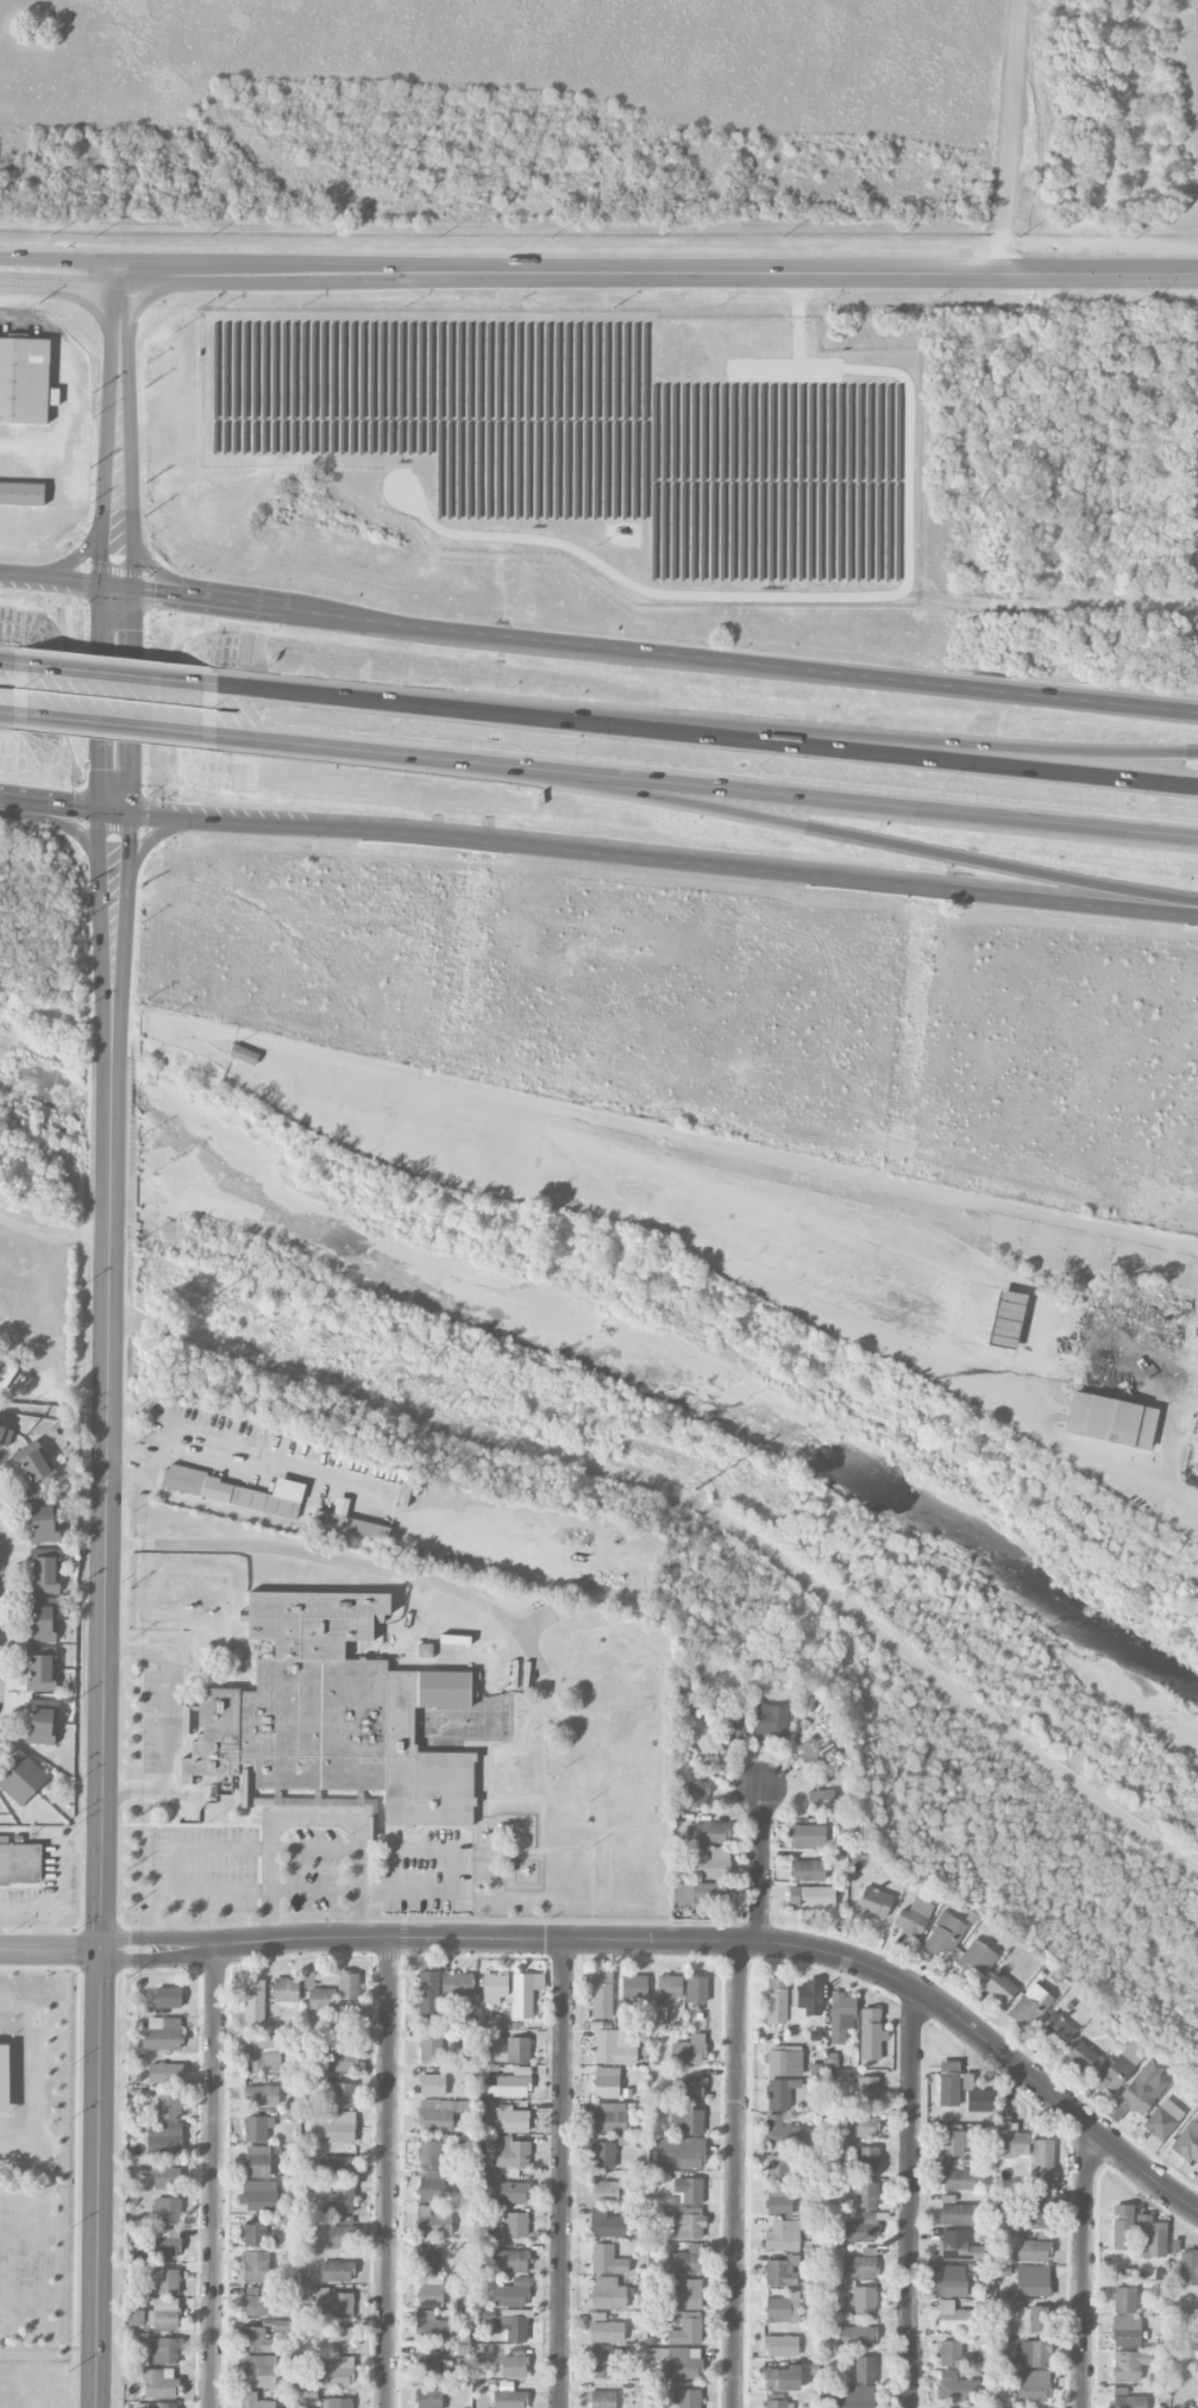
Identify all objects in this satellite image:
road: (1065, 8)
road: (1016, 114)
road: (598, 226)
road: (598, 274)
road: (120, 319)
building: (25, 380)
road: (70, 384)
road: (105, 475)
road: (130, 477)
building: (21, 494)
road: (75, 560)
traffic signals: (102, 562)
road: (152, 567)
road: (849, 595)
traffic signals: (131, 631)
road: (597, 647)
road: (7, 665)
road: (115, 676)
road: (101, 698)
road: (130, 702)
road: (7, 719)
road: (117, 730)
road: (707, 736)
road: (827, 736)
road: (382, 757)
traffic signals: (101, 769)
road: (871, 805)
traffic signals: (76, 809)
road: (69, 826)
road: (152, 836)
traffic signals: (128, 839)
road: (871, 841)
road: (598, 855)
road: (101, 917)
road: (126, 920)
building: (244, 1054)
road: (863, 1175)
road: (676, 1205)
road: (109, 1224)
power tower: (200, 1304)
building: (1006, 1319)
building: (1124, 1367)
building: (5, 1372)
road: (1180, 1412)
building: (1197, 1416)
building: (6, 1436)
building: (31, 1455)
road: (151, 1465)
building: (44, 1475)
power tower: (695, 1490)
building: (237, 1492)
building: (43, 1512)
building: (349, 1523)
building: (46, 1532)
road: (330, 1559)
power tower: (1192, 1563)
building: (45, 1566)
building: (46, 1584)
road: (0, 1586)
building: (42, 1613)
building: (42, 1630)
street lamp: (236, 1635)
street lamp: (415, 1638)
building: (425, 1650)
building: (43, 1657)
building: (44, 1681)
building: (43, 1712)
building: (332, 1719)
building: (735, 1722)
building: (771, 1723)
road: (167, 1724)
building: (42, 1735)
building: (704, 1736)
building: (817, 1751)
building: (29, 1769)
building: (15, 1787)
building: (697, 1794)
building: (824, 1801)
street lamp: (257, 1817)
road: (316, 1819)
street lamp: (211, 1821)
building: (711, 1833)
building: (808, 1836)
street lamp: (290, 1837)
street lamp: (347, 1838)
building: (19, 1863)
building: (713, 1864)
road: (763, 1865)
road: (176, 1868)
road: (452, 1871)
building: (808, 1871)
building: (579, 1877)
road: (63, 1890)
building: (700, 1894)
building: (811, 1896)
building: (873, 1904)
street lamp: (187, 1913)
street lamp: (288, 1913)
street lamp: (247, 1914)
road: (100, 1915)
building: (914, 1918)
road: (54, 1931)
building: (943, 1934)
road: (419, 1939)
road: (751, 1940)
road: (50, 1949)
traffic signals: (100, 1950)
building: (977, 1958)
building: (457, 1984)
building: (347, 1986)
building: (634, 1987)
building: (670, 1987)
building: (495, 1988)
building: (696, 1989)
building: (999, 1989)
building: (286, 1990)
building: (428, 1994)
building: (525, 1994)
building: (318, 1995)
building: (602, 1995)
building: (169, 1996)
building: (805, 2000)
building: (776, 2001)
building: (253, 2002)
building: (1031, 2006)
building: (841, 2017)
building: (1056, 2030)
building: (162, 2033)
building: (871, 2034)
building: (615, 2046)
road: (996, 2046)
building: (431, 2049)
building: (518, 2050)
building: (689, 2050)
building: (1080, 2056)
building: (261, 2057)
building: (339, 2057)
building: (785, 2061)
building: (1117, 2069)
building: (165, 2072)
building: (606, 2083)
building: (949, 2084)
building: (432, 2086)
building: (510, 2087)
building: (690, 2088)
building: (867, 2089)
building: (1140, 2092)
building: (779, 2094)
building: (262, 2095)
building: (343, 2095)
building: (979, 2101)
building: (169, 2107)
building: (609, 2118)
building: (512, 2119)
building: (686, 2121)
building: (1160, 2124)
building: (335, 2126)
building: (860, 2127)
building: (257, 2128)
building: (782, 2132)
building: (164, 2138)
building: (1012, 2140)
building: (952, 2143)
building: (1187, 2143)
building: (510, 2152)
building: (680, 2152)
building: (429, 2153)
building: (603, 2155)
building: (1042, 2157)
building: (867, 2159)
building: (257, 2162)
building: (338, 2166)
building: (777, 2168)
road: (390, 2174)
road: (563, 2174)
road: (736, 2174)
building: (165, 2178)
road: (214, 2178)
building: (958, 2180)
building: (432, 2186)
building: (689, 2190)
building: (513, 2193)
building: (259, 2195)
building: (866, 2195)
road: (911, 2197)
building: (344, 2200)
building: (779, 2200)
building: (165, 2211)
building: (1037, 2211)
building: (956, 2214)
building: (433, 2224)
building: (689, 2224)
building: (516, 2225)
building: (606, 2225)
building: (1122, 2227)
building: (861, 2230)
building: (341, 2233)
building: (255, 2234)
building: (783, 2237)
building: (1150, 2238)
building: (164, 2245)
building: (958, 2246)
building: (1033, 2251)
building: (428, 2258)
building: (607, 2260)
building: (685, 2260)
building: (509, 2262)
building: (860, 2264)
building: (255, 2266)
road: (1086, 2268)
building: (1188, 2268)
building: (335, 2271)
building: (782, 2271)
building: (1033, 2281)
building: (163, 2282)
building: (953, 2285)
building: (429, 2290)
building: (513, 2294)
building: (608, 2294)
building: (689, 2295)
building: (861, 2299)
building: (1124, 2300)
building: (258, 2303)
building: (341, 2306)
building: (782, 2308)
building: (165, 2314)
building: (953, 2318)
building: (1040, 2319)
building: (432, 2327)
building: (514, 2328)
building: (604, 2329)
building: (686, 2329)
building: (1125, 2332)
building: (855, 2337)
building: (341, 2339)
building: (256, 2340)
building: (782, 2346)
building: (164, 2351)
building: (949, 2353)
building: (1035, 2353)
building: (601, 2362)
building: (684, 2363)
building: (427, 2364)
building: (1129, 2365)
building: (513, 2366)
building: (865, 2370)
building: (259, 2371)
building: (335, 2371)
building: (783, 2379)
building: (159, 2384)
building: (1033, 2385)
building: (956, 2387)
building: (429, 2394)
building: (508, 2397)
building: (855, 2397)
building: (686, 2398)
building: (602, 2400)
building: (1127, 2400)
building: (253, 2401)
building: (337, 2403)
building: (777, 2404)
building: (162, 2406)
building: (1197, 2406)
building: (1187, 2407)

